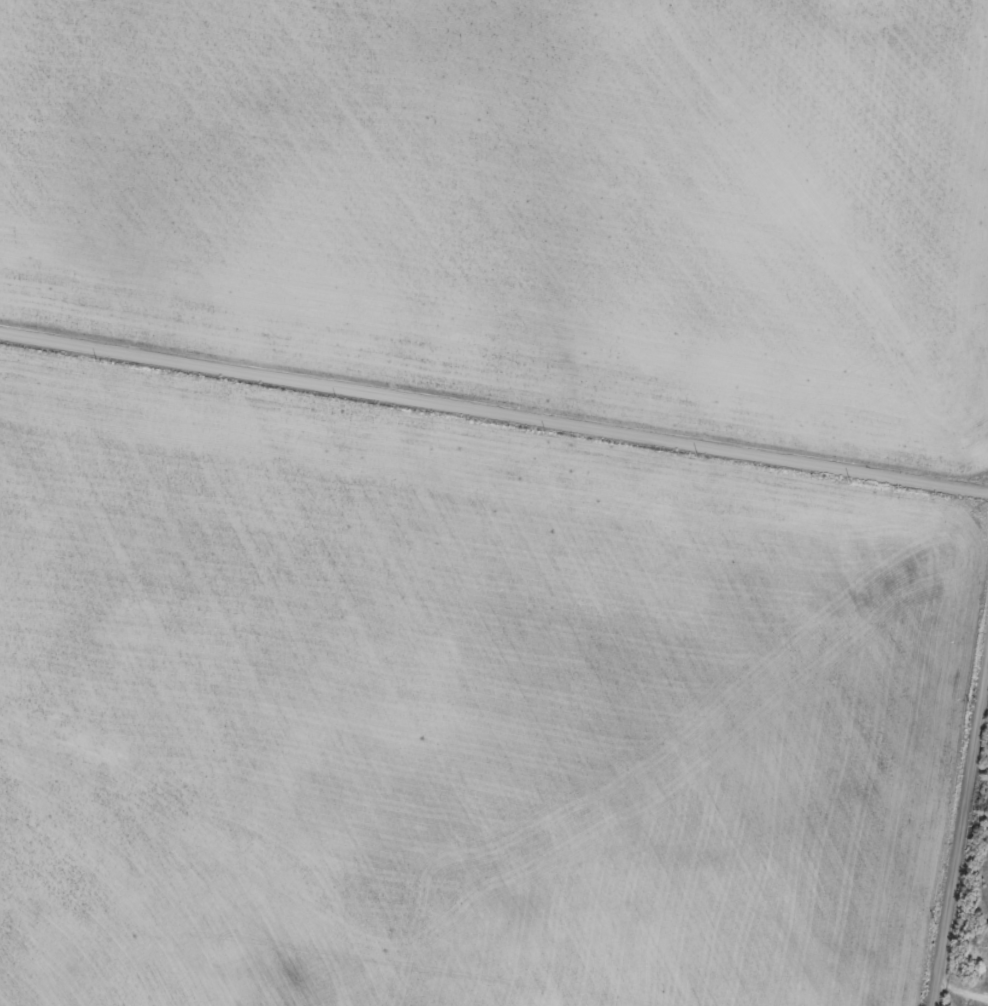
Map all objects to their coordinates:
crop: (526, 204)
road: (494, 414)
road: (955, 833)
road: (944, 1002)

